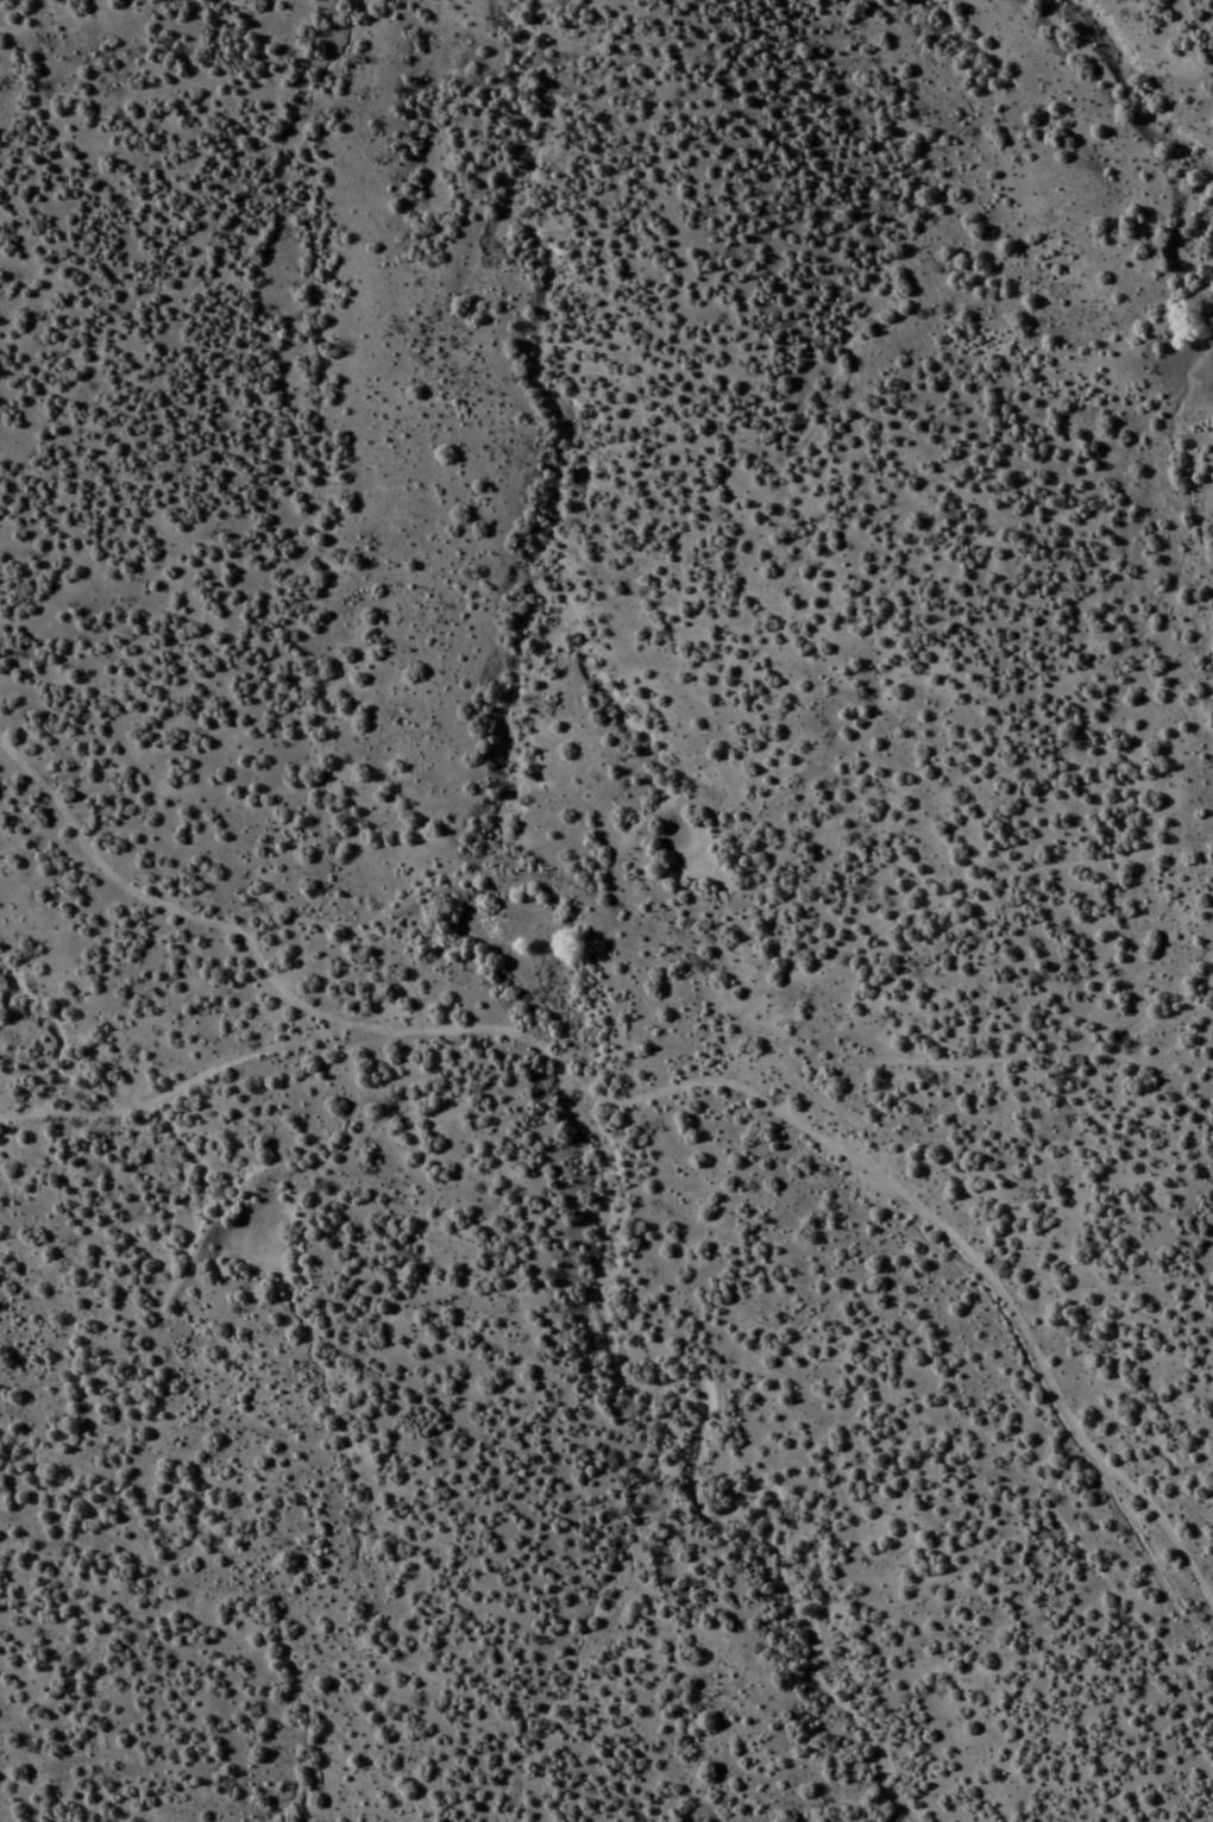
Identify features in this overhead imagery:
road: (645, 1095)

